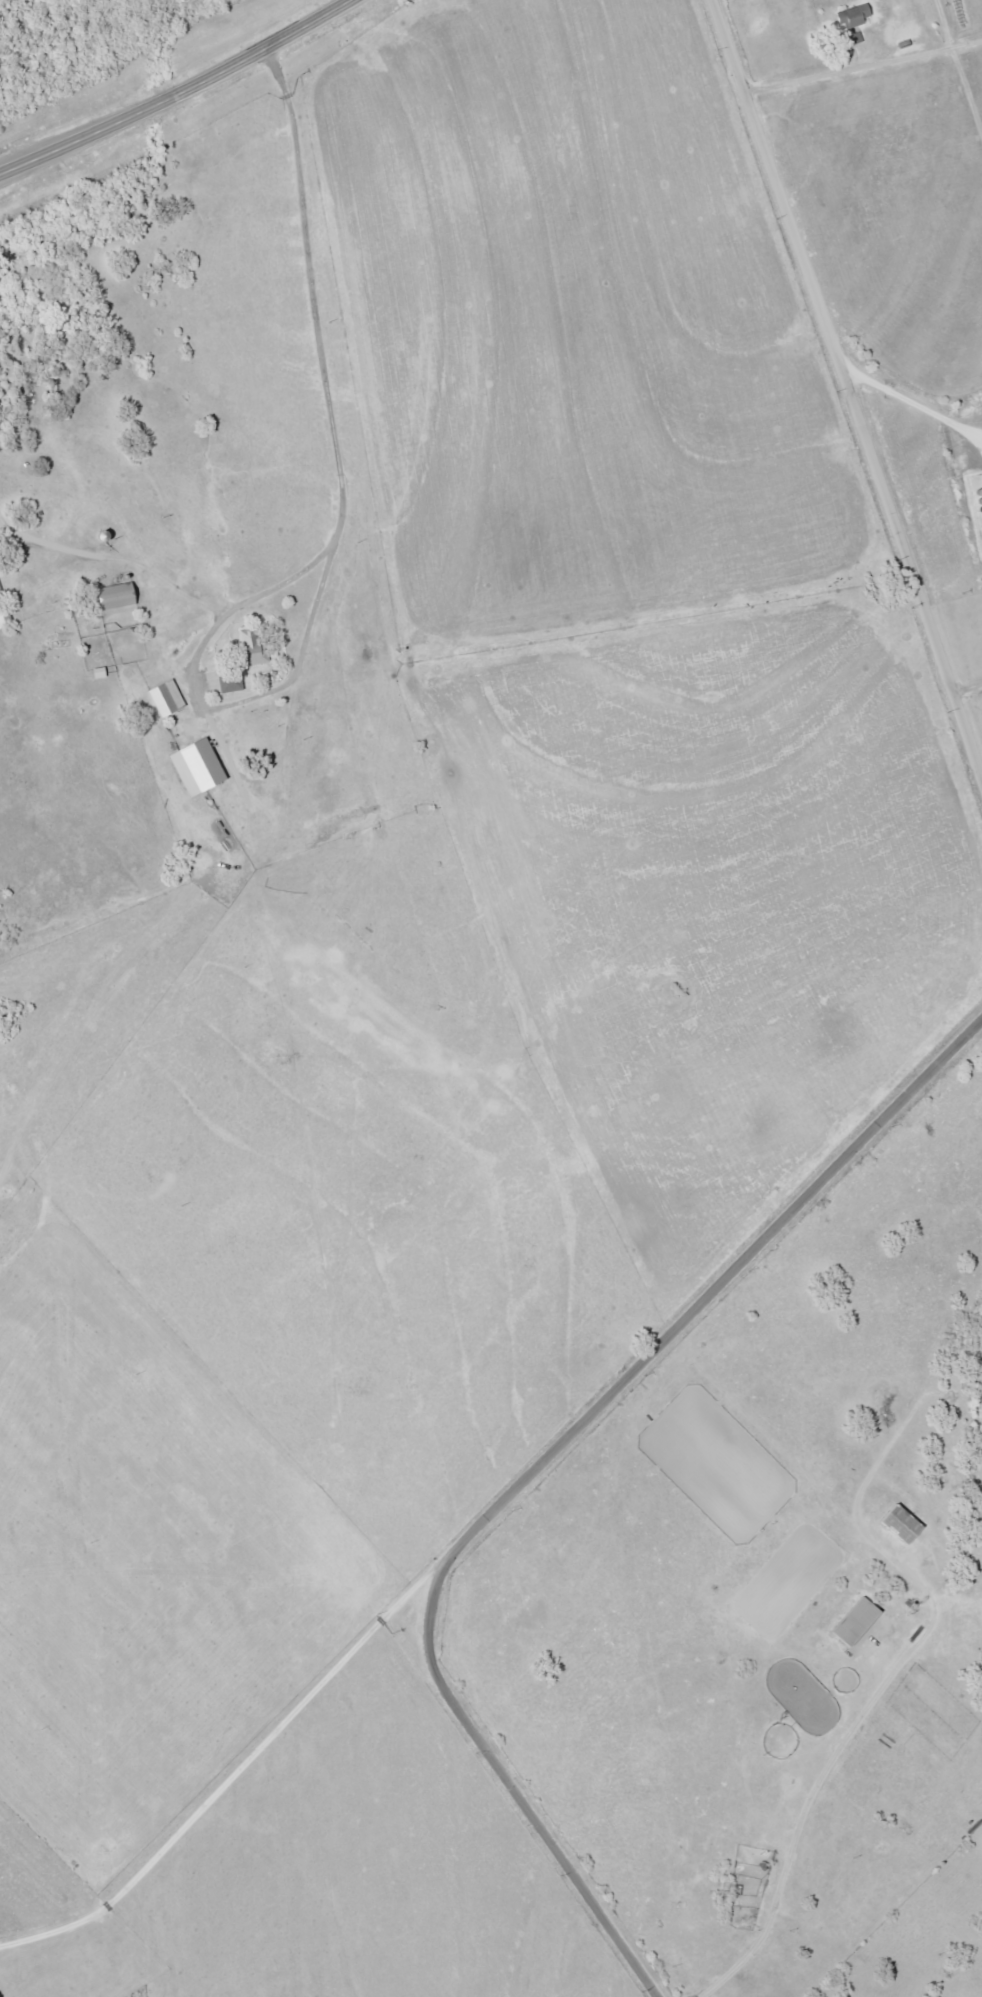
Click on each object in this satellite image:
building: (851, 22)
road: (175, 89)
road: (324, 363)
road: (849, 387)
building: (112, 596)
building: (4, 618)
building: (251, 647)
building: (227, 679)
building: (164, 697)
building: (193, 766)
road: (531, 1467)
building: (898, 1523)
building: (851, 1620)
road: (234, 1765)
building: (733, 1894)

